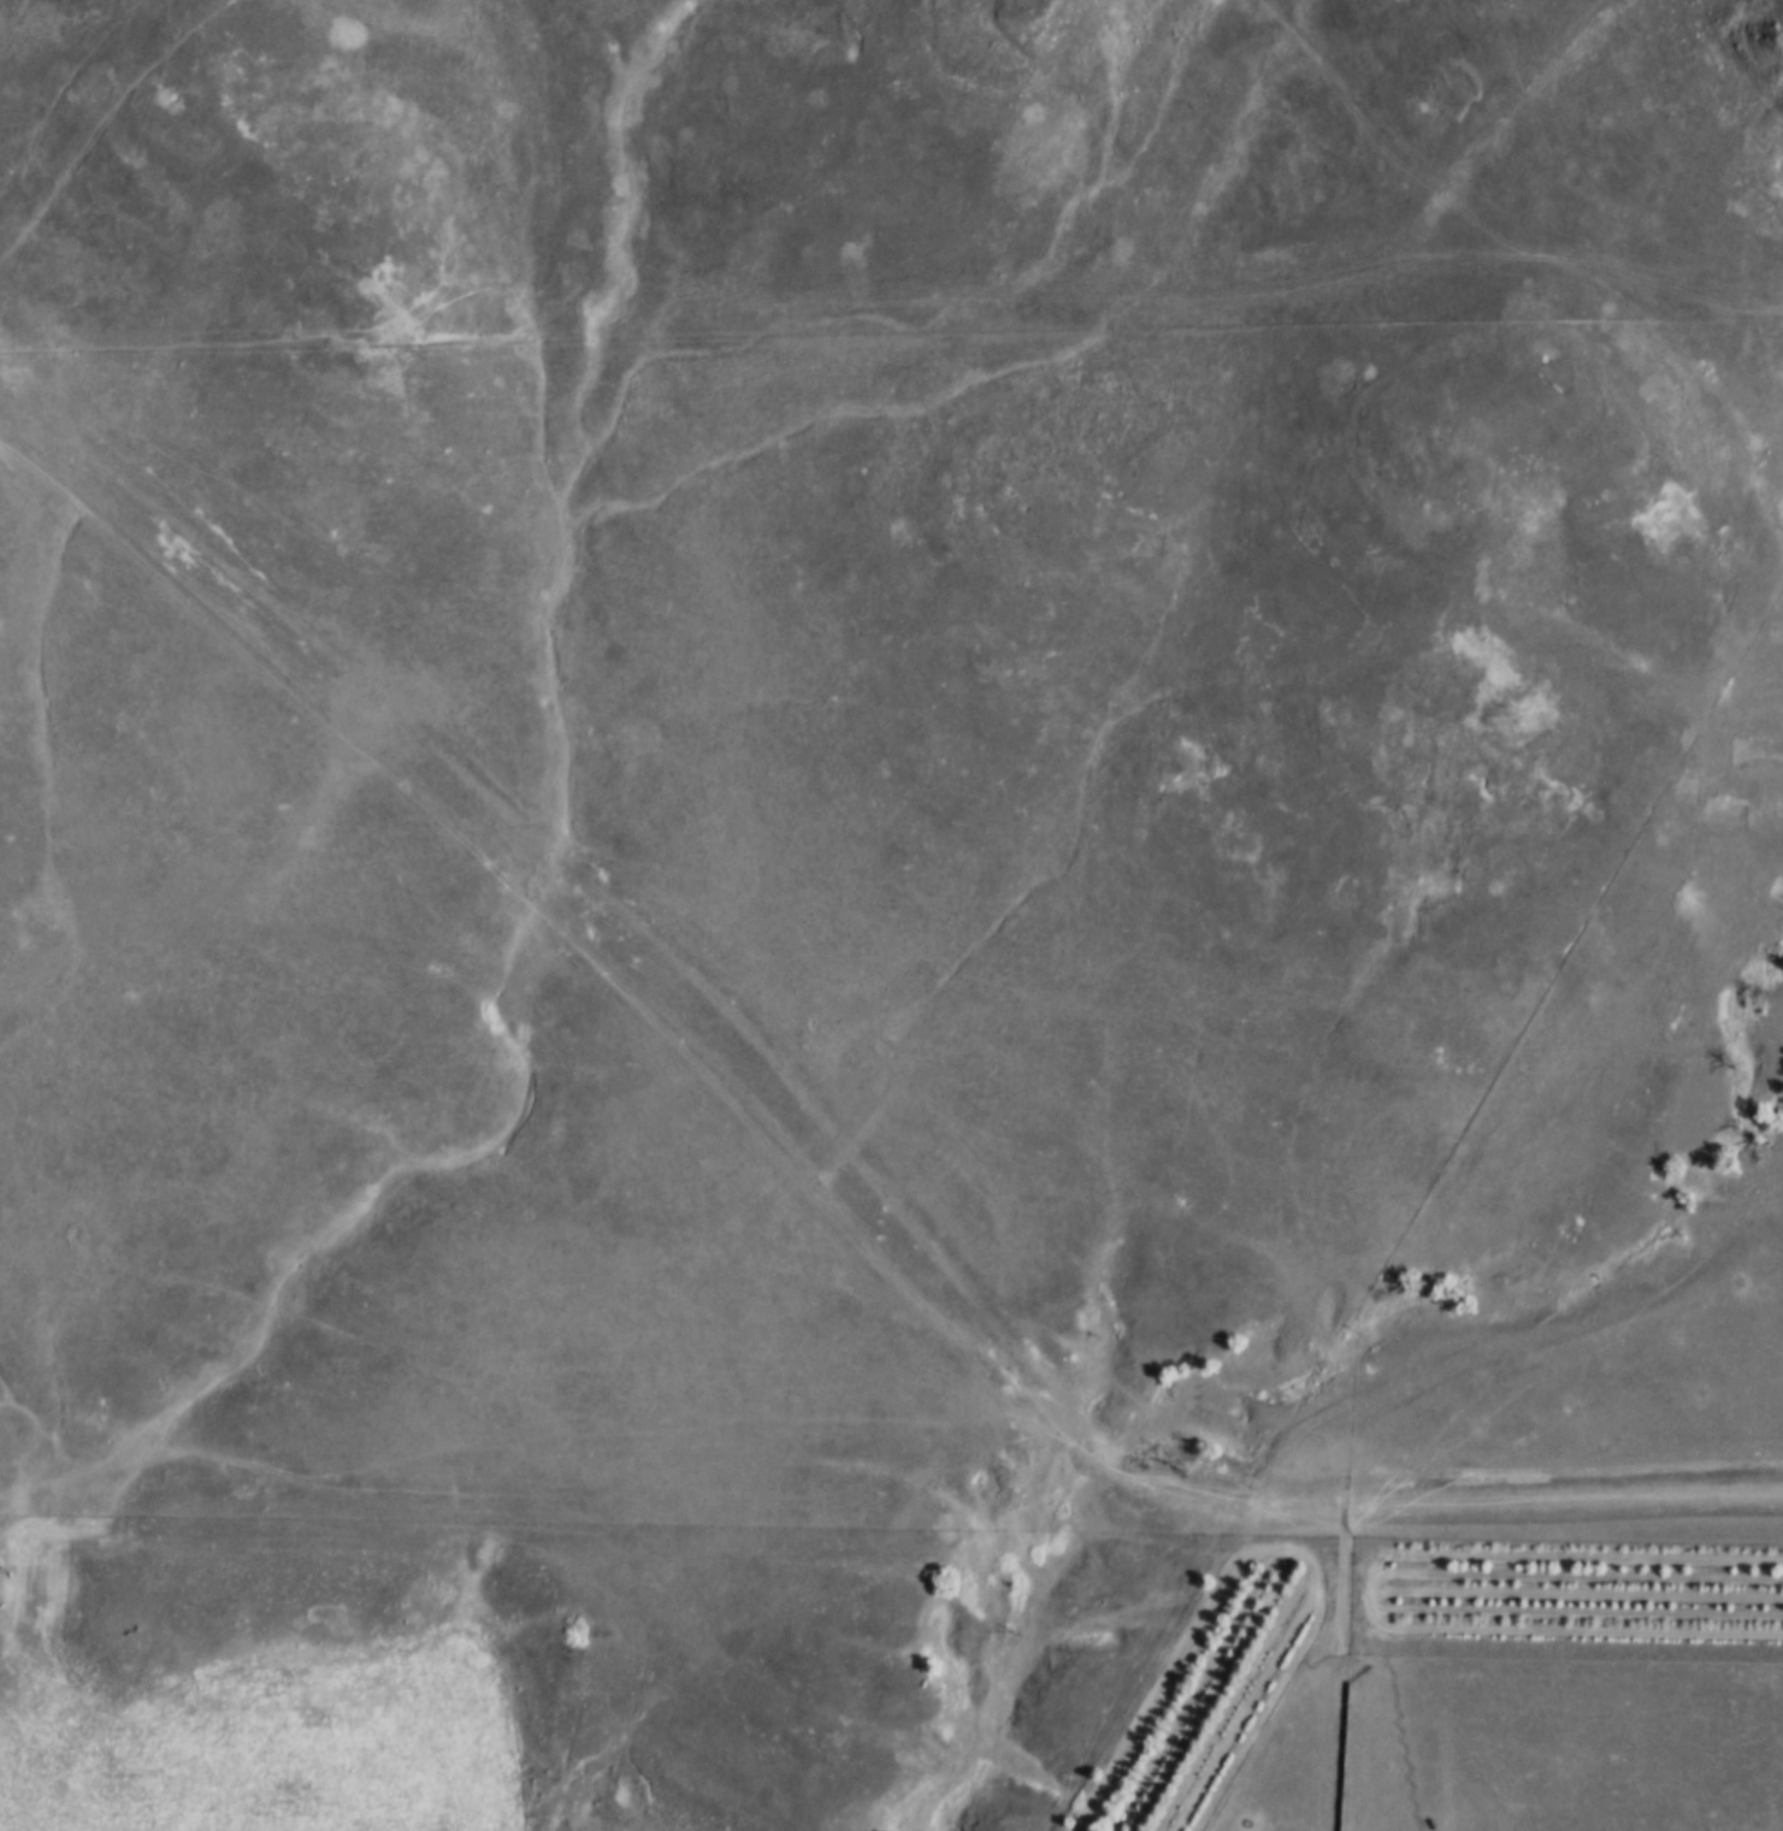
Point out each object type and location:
road: (809, 1177)

